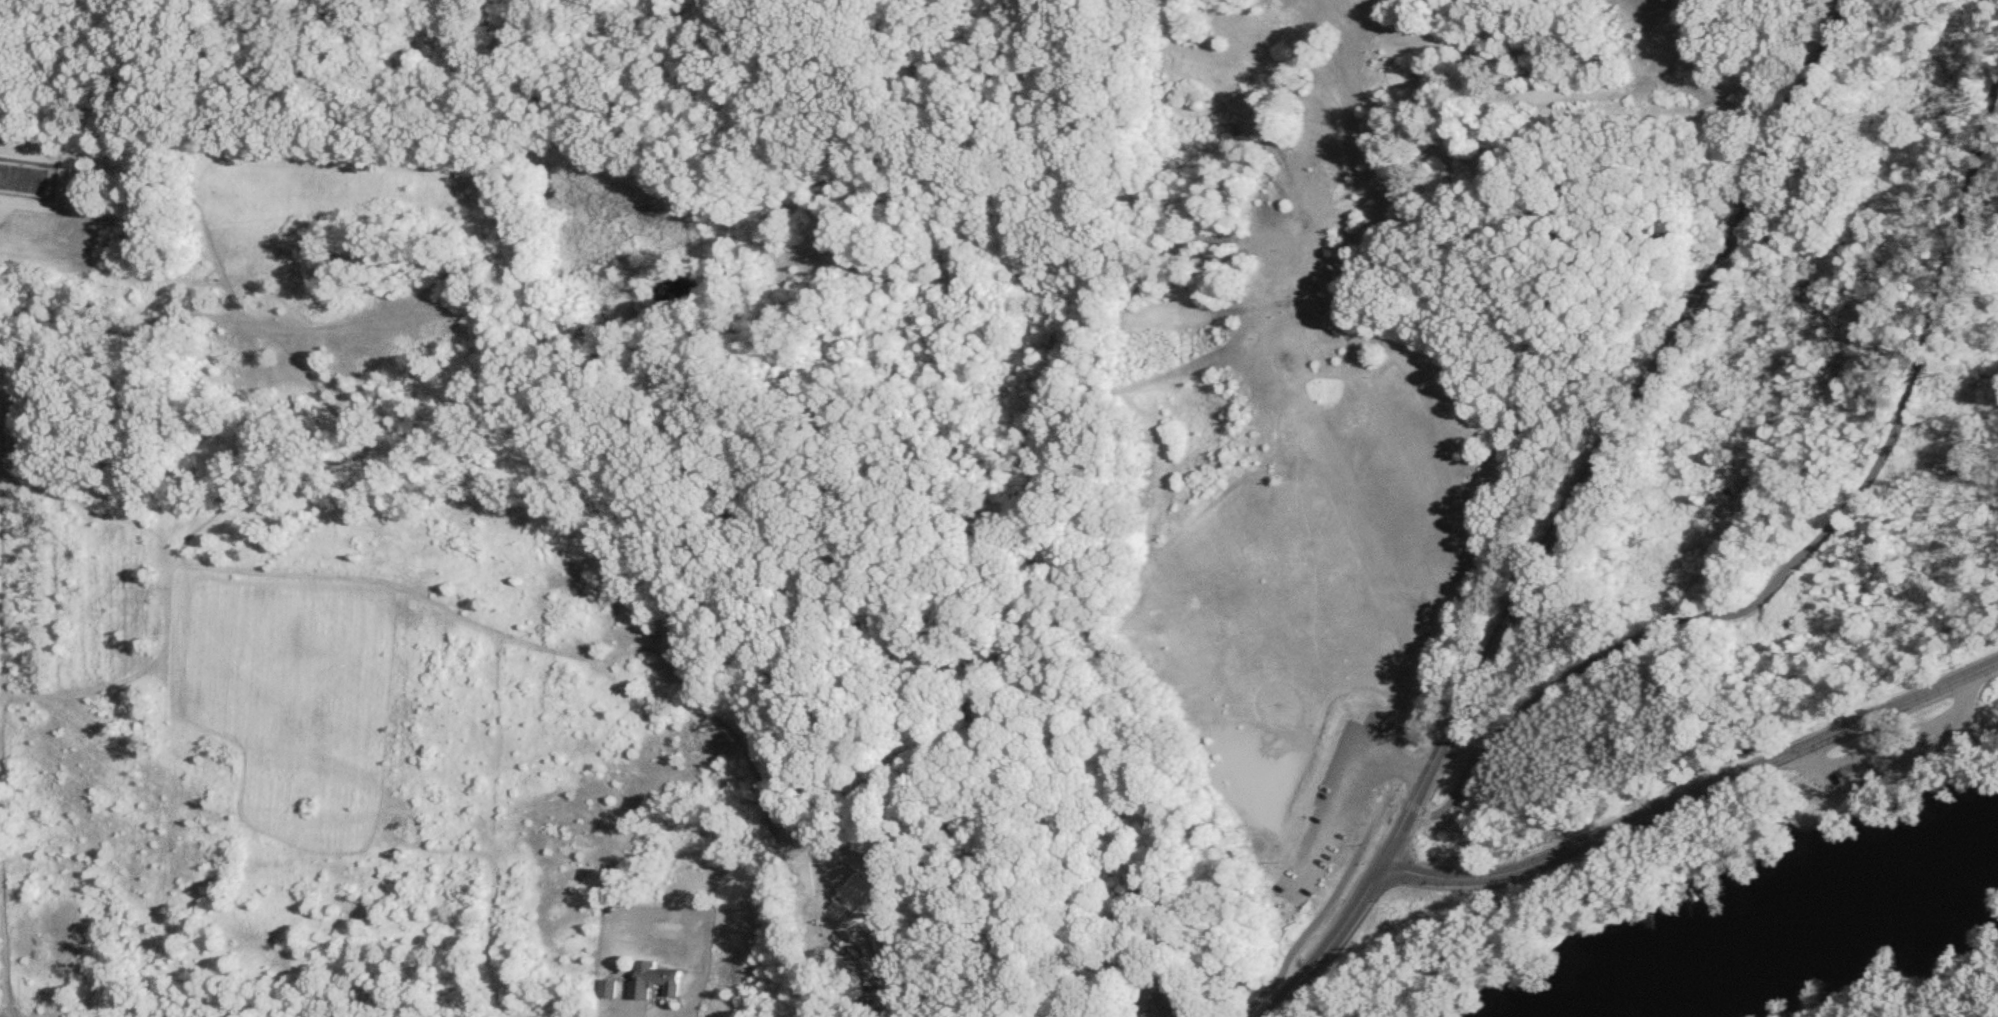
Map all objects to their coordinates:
park: (1388, 369)
park: (1793, 459)
road: (1567, 512)
road: (1692, 618)
road: (1898, 752)
road: (1696, 794)
road: (1343, 800)
parking lot: (1342, 810)
road: (3, 877)
river: (1801, 923)
building: (603, 960)
building: (652, 980)
building: (1167, 1003)

